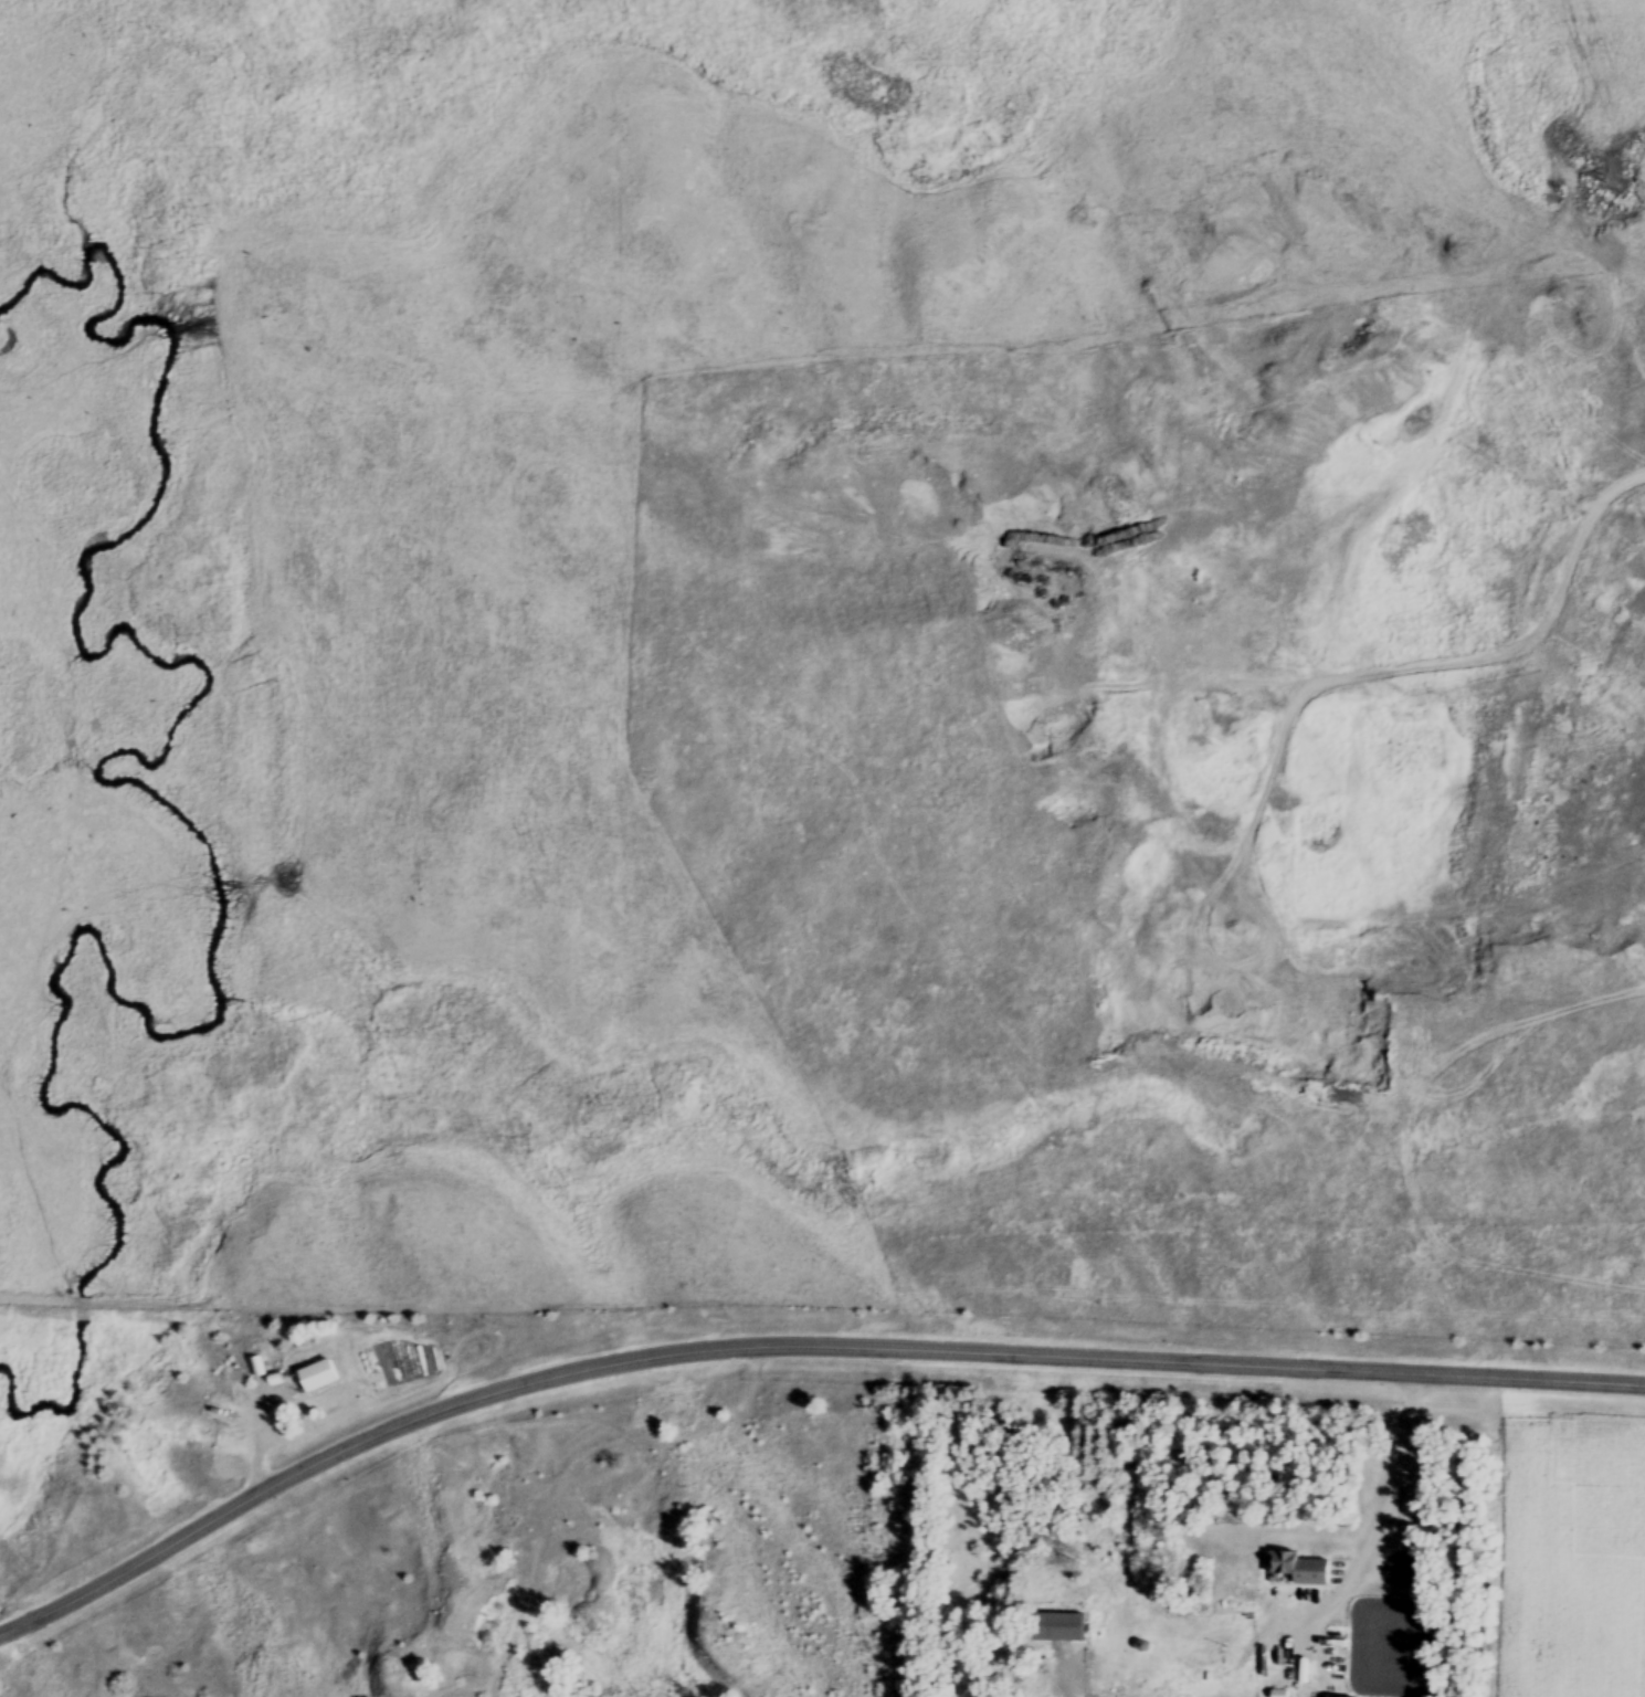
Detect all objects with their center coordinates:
road: (793, 1355)
building: (266, 1367)
building: (318, 1378)
road: (1392, 1496)
building: (1296, 1569)
building: (1057, 1627)

